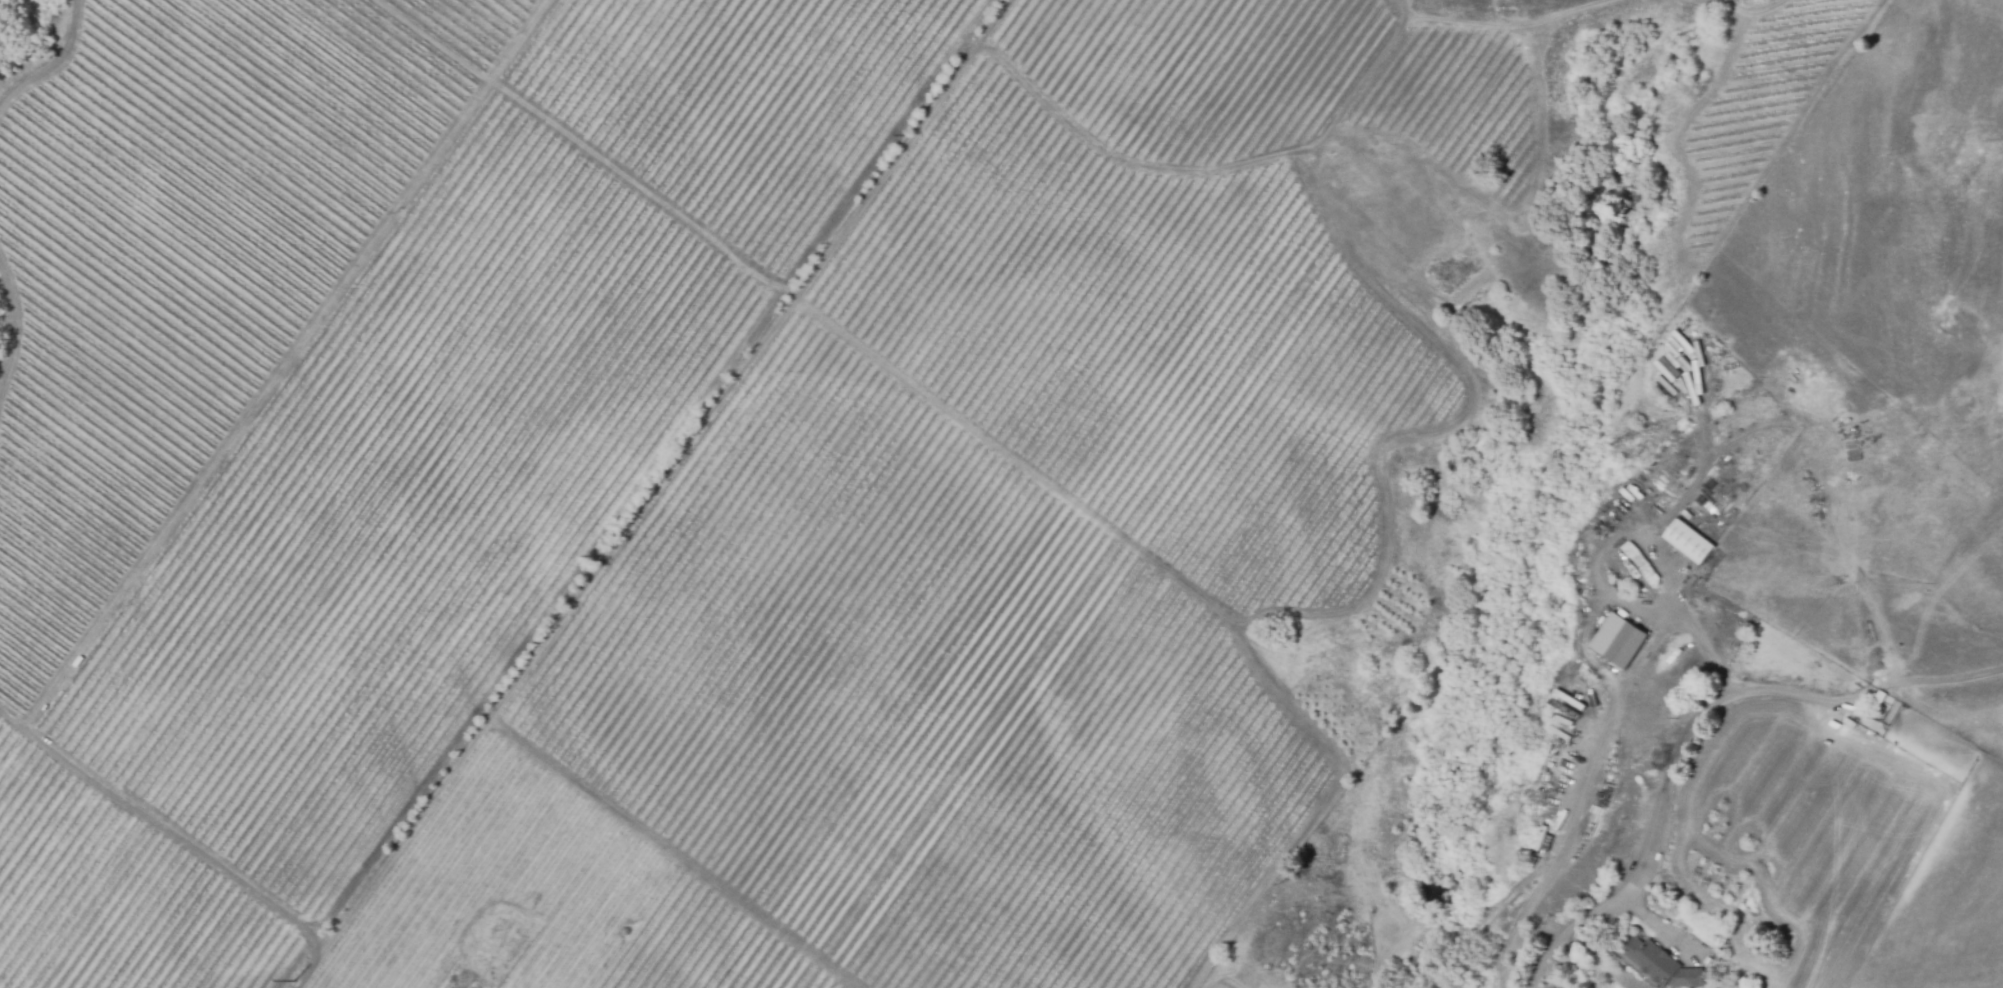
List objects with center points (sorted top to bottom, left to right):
building: (1687, 542)
building: (1624, 647)
road: (1688, 717)
road: (1582, 786)
building: (1660, 964)

